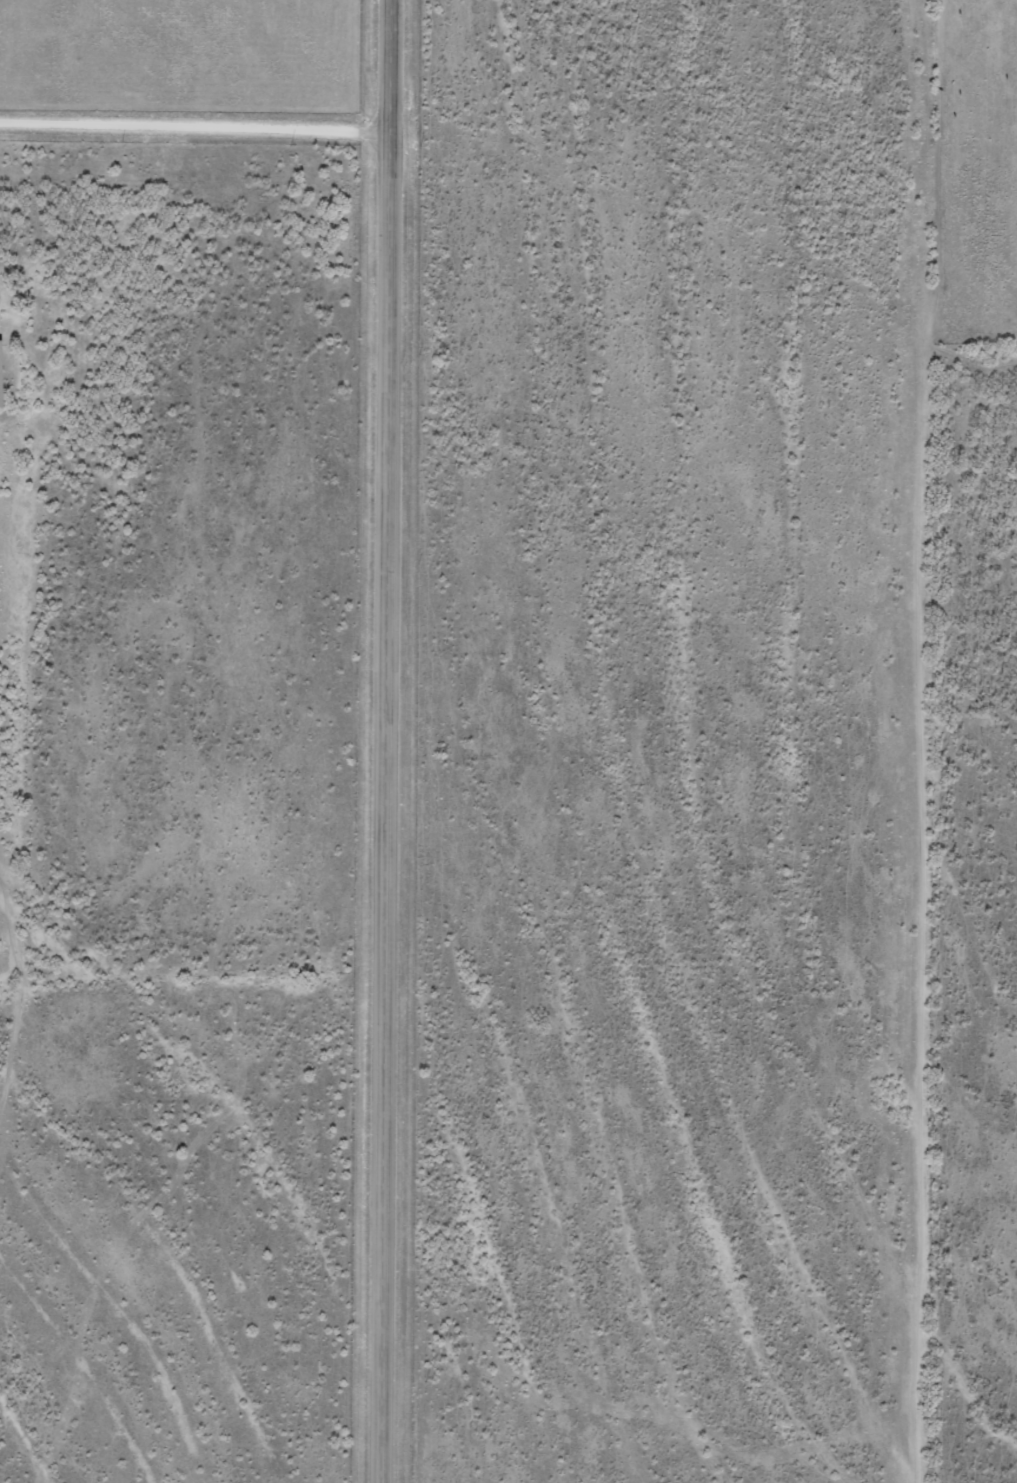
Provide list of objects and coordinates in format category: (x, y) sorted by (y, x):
road: (195, 125)
road: (385, 741)

